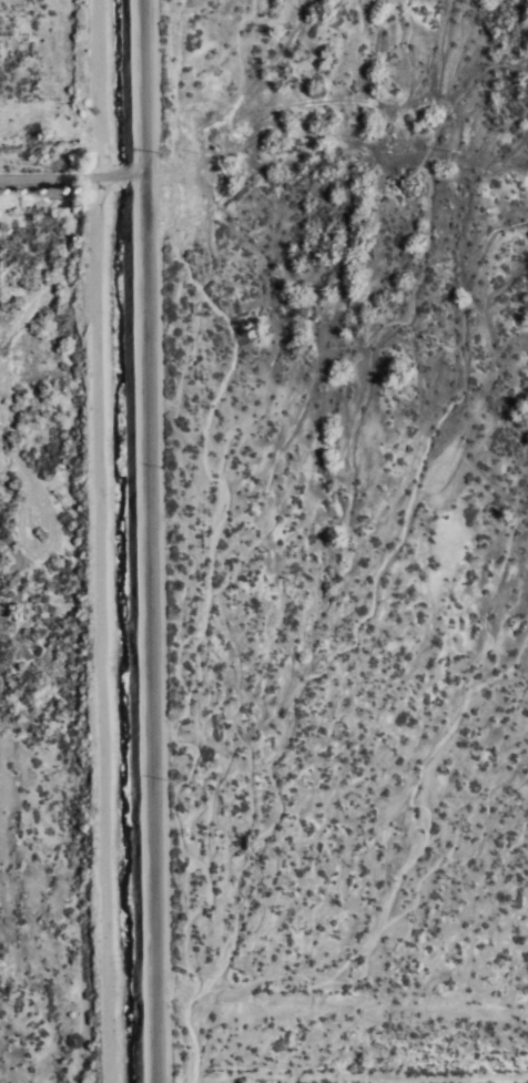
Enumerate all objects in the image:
road: (92, 178)
road: (191, 541)

